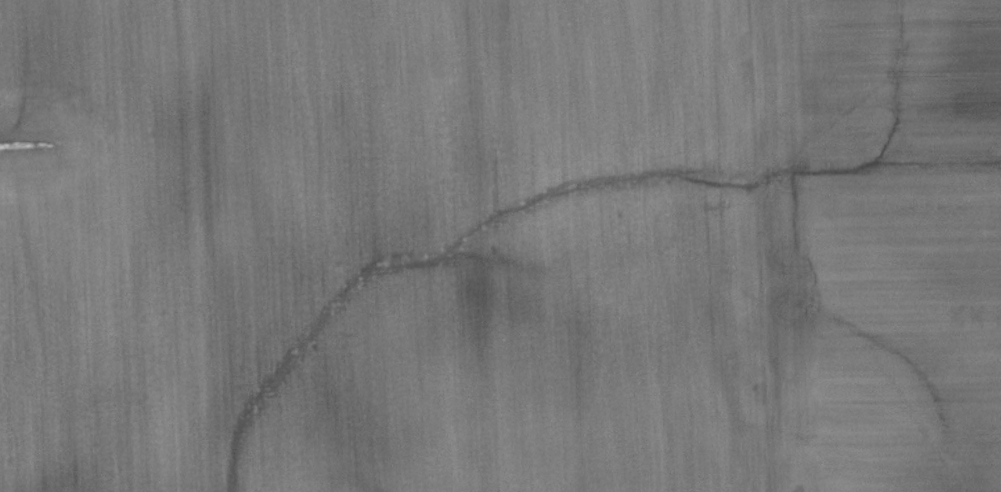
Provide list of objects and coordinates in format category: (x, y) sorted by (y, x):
crop: (500, 246)

